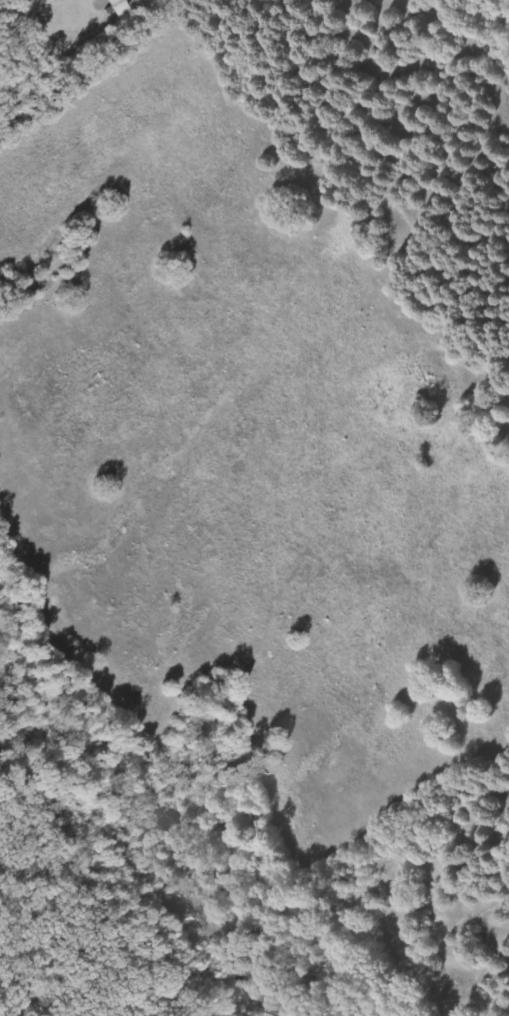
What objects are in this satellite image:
building: (120, 7)

